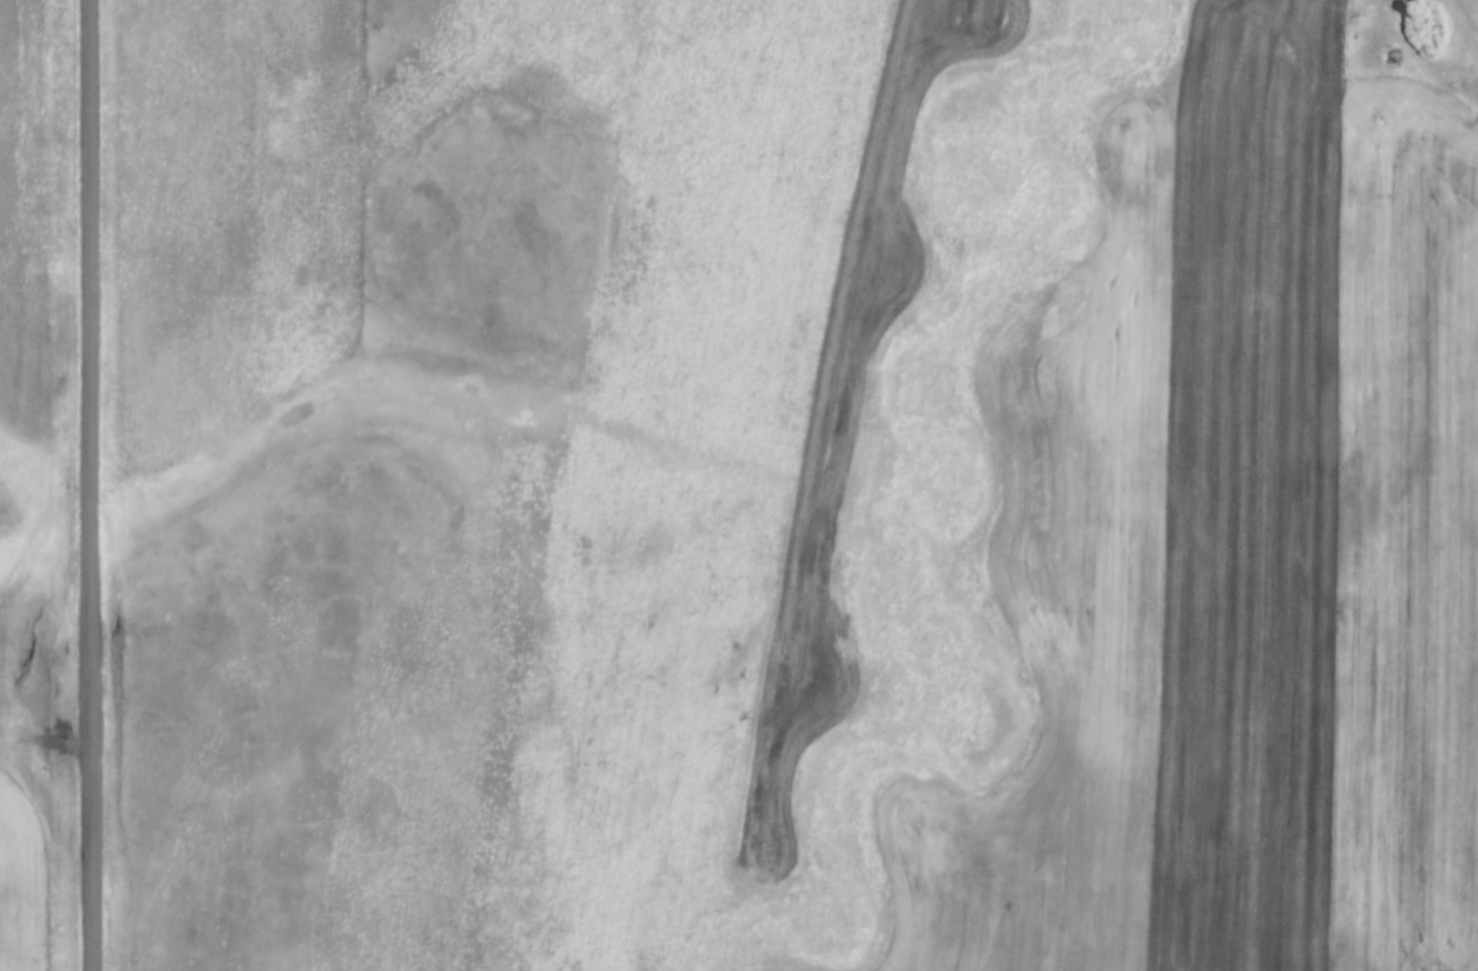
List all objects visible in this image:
road: (1078, 40)
road: (1419, 59)
road: (89, 485)

